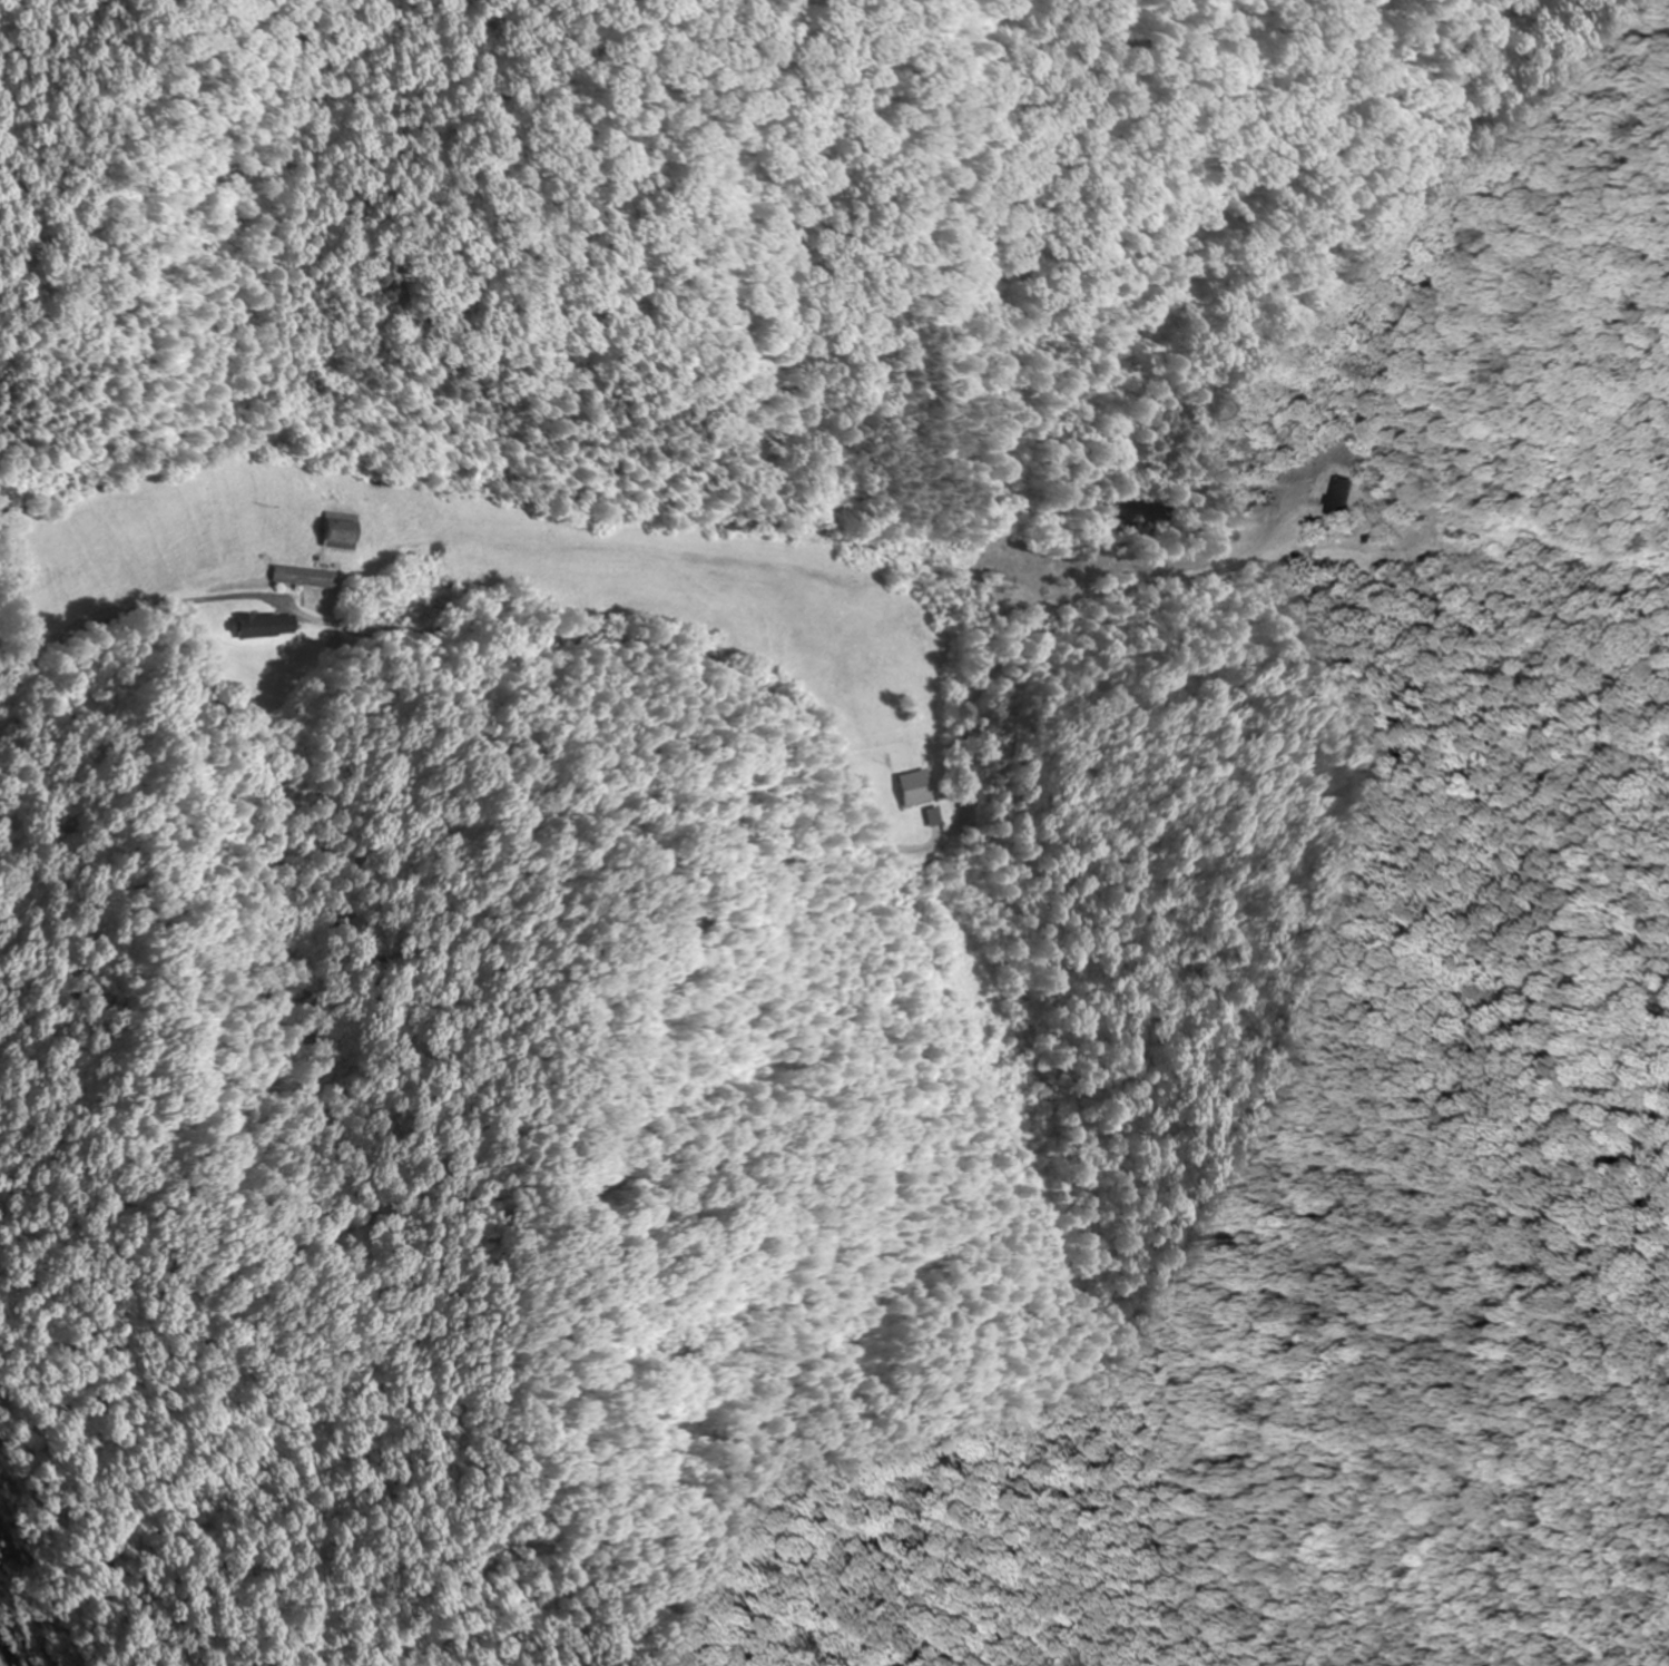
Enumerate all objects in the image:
building: (1341, 498)
building: (328, 535)
building: (295, 578)
building: (999, 582)
road: (141, 612)
building: (256, 625)
building: (904, 788)
building: (925, 817)

